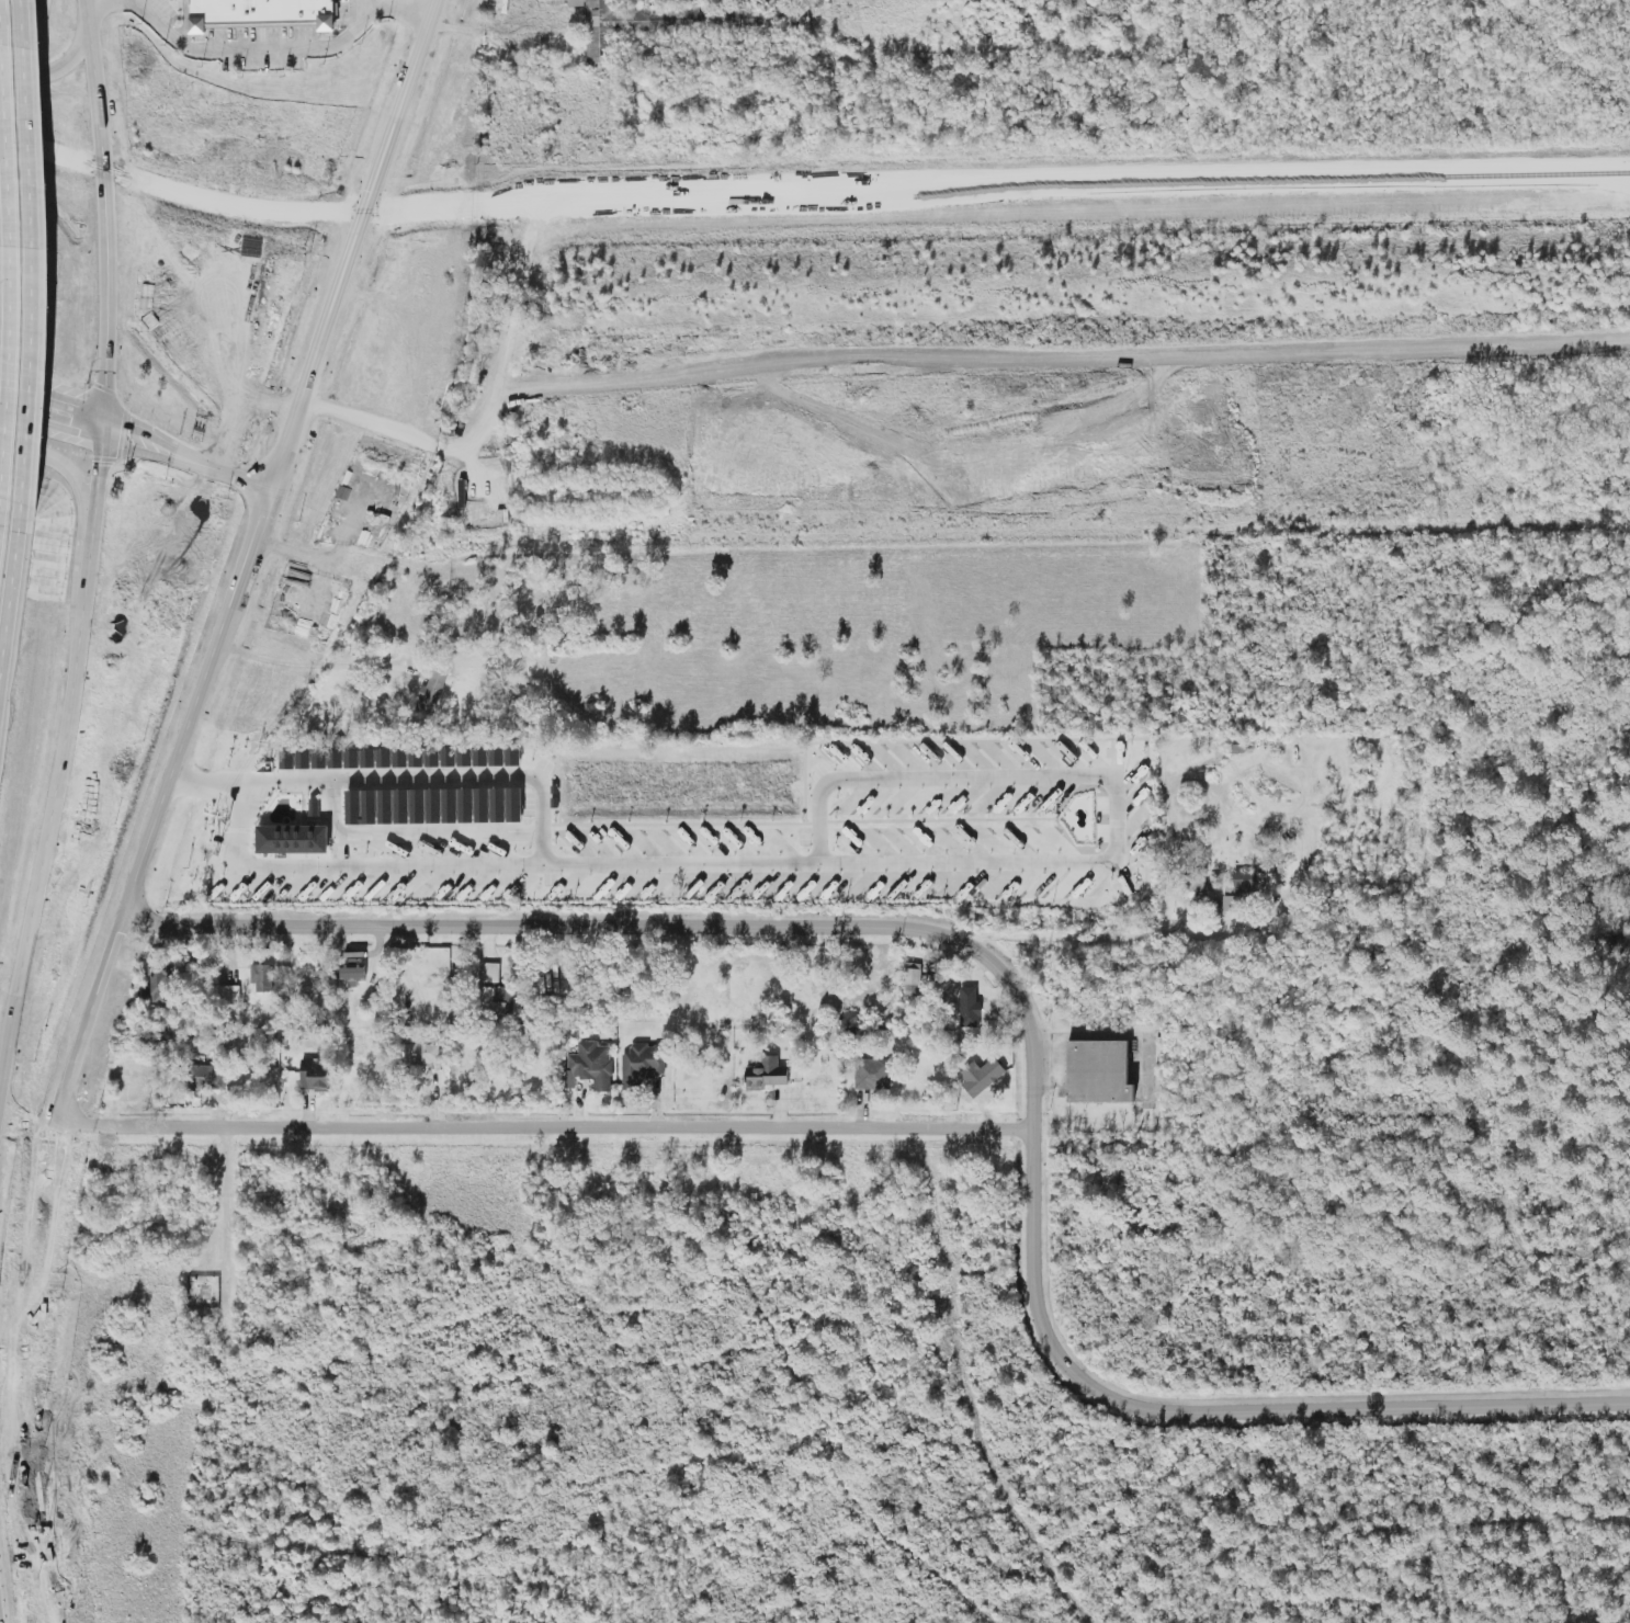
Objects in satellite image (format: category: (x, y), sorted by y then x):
road: (97, 0)
road: (376, 3)
building: (261, 12)
river: (1578, 44)
road: (283, 49)
road: (60, 70)
railway: (808, 201)
road: (109, 207)
building: (251, 251)
road: (54, 399)
road: (54, 420)
road: (384, 423)
road: (107, 427)
traffic signals: (107, 439)
road: (171, 443)
road: (279, 454)
road: (186, 463)
road: (64, 466)
road: (327, 556)
road: (230, 648)
road: (246, 652)
road: (325, 663)
building: (432, 691)
building: (506, 757)
building: (385, 758)
building: (400, 758)
building: (351, 804)
building: (510, 804)
building: (445, 805)
building: (462, 805)
building: (478, 805)
building: (494, 805)
building: (382, 806)
building: (398, 806)
building: (414, 806)
building: (430, 806)
road: (542, 826)
building: (293, 839)
road: (1062, 859)
building: (1244, 881)
building: (1231, 903)
road: (1089, 935)
building: (491, 972)
building: (351, 974)
building: (262, 977)
building: (913, 979)
building: (161, 981)
building: (229, 995)
building: (501, 1001)
road: (1022, 1007)
building: (970, 1008)
road: (91, 1020)
road: (23, 1029)
building: (421, 1054)
building: (643, 1064)
building: (591, 1065)
building: (1101, 1071)
building: (767, 1074)
building: (873, 1074)
building: (315, 1075)
building: (210, 1077)
building: (984, 1078)
road: (1332, 1125)
road: (543, 1127)
road: (225, 1198)

